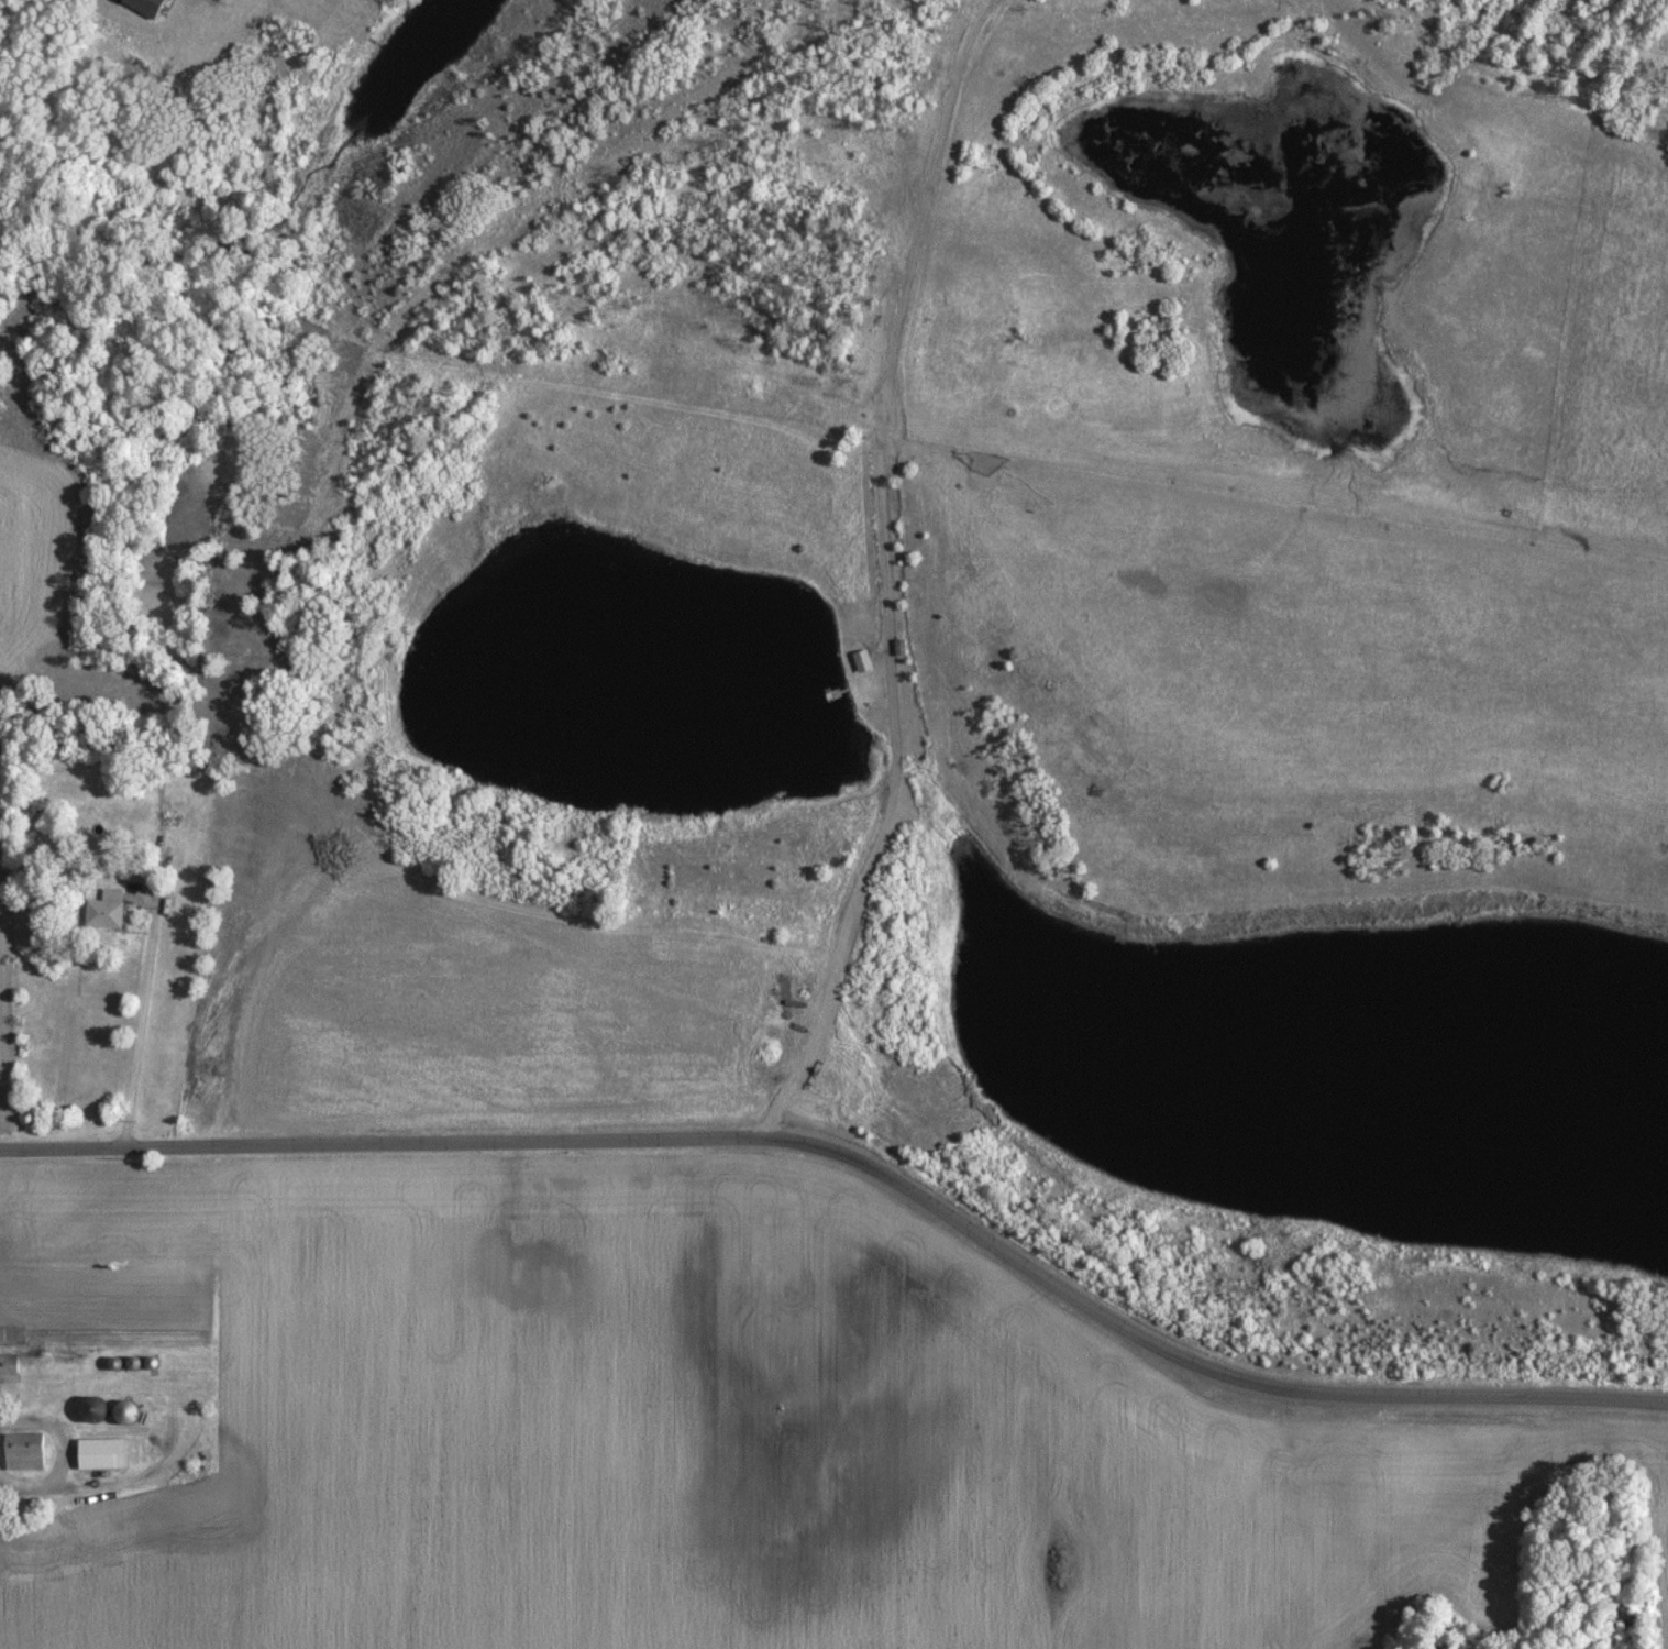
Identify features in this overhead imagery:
building: (147, 6)
road: (887, 573)
building: (106, 910)
road: (142, 1023)
road: (864, 1154)
building: (9, 1366)
building: (24, 1449)
building: (102, 1451)
road: (60, 1454)

